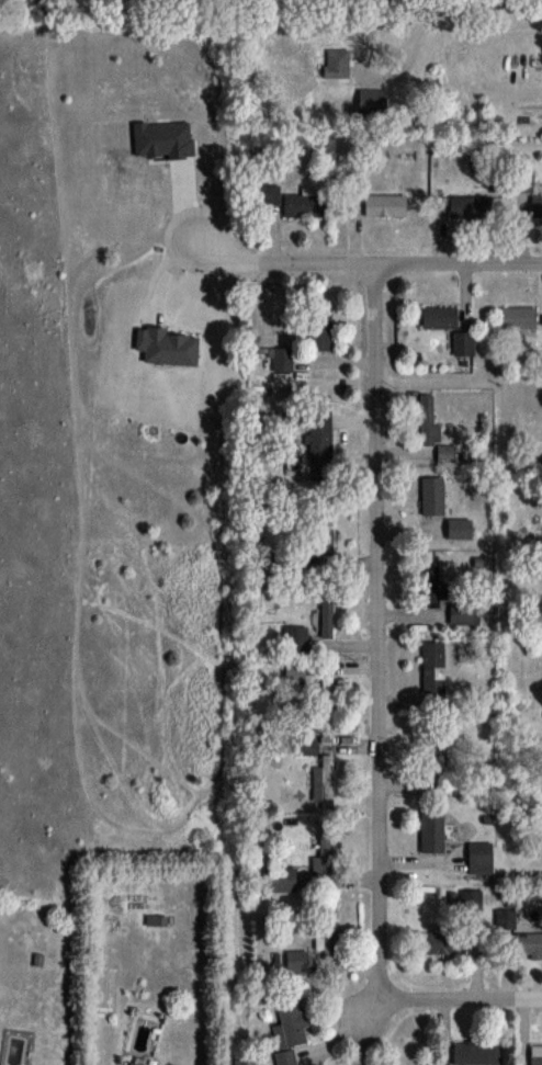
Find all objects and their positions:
building: (336, 64)
building: (523, 180)
building: (269, 193)
building: (304, 204)
building: (384, 204)
building: (467, 206)
building: (535, 206)
road: (365, 261)
building: (517, 316)
building: (439, 317)
building: (319, 331)
building: (460, 342)
building: (282, 359)
building: (432, 429)
building: (319, 438)
building: (540, 462)
building: (434, 510)
building: (321, 534)
building: (430, 580)
building: (464, 613)
building: (326, 615)
road: (377, 630)
building: (295, 638)
building: (432, 666)
building: (294, 671)
building: (327, 698)
building: (305, 746)
building: (430, 760)
building: (323, 781)
building: (431, 830)
building: (324, 850)
building: (479, 857)
building: (281, 879)
building: (471, 898)
building: (505, 917)
building: (156, 919)
building: (326, 928)
building: (441, 942)
building: (528, 943)
building: (295, 960)
road: (462, 997)
building: (290, 1031)
building: (476, 1053)
building: (535, 1054)
building: (131, 1064)

